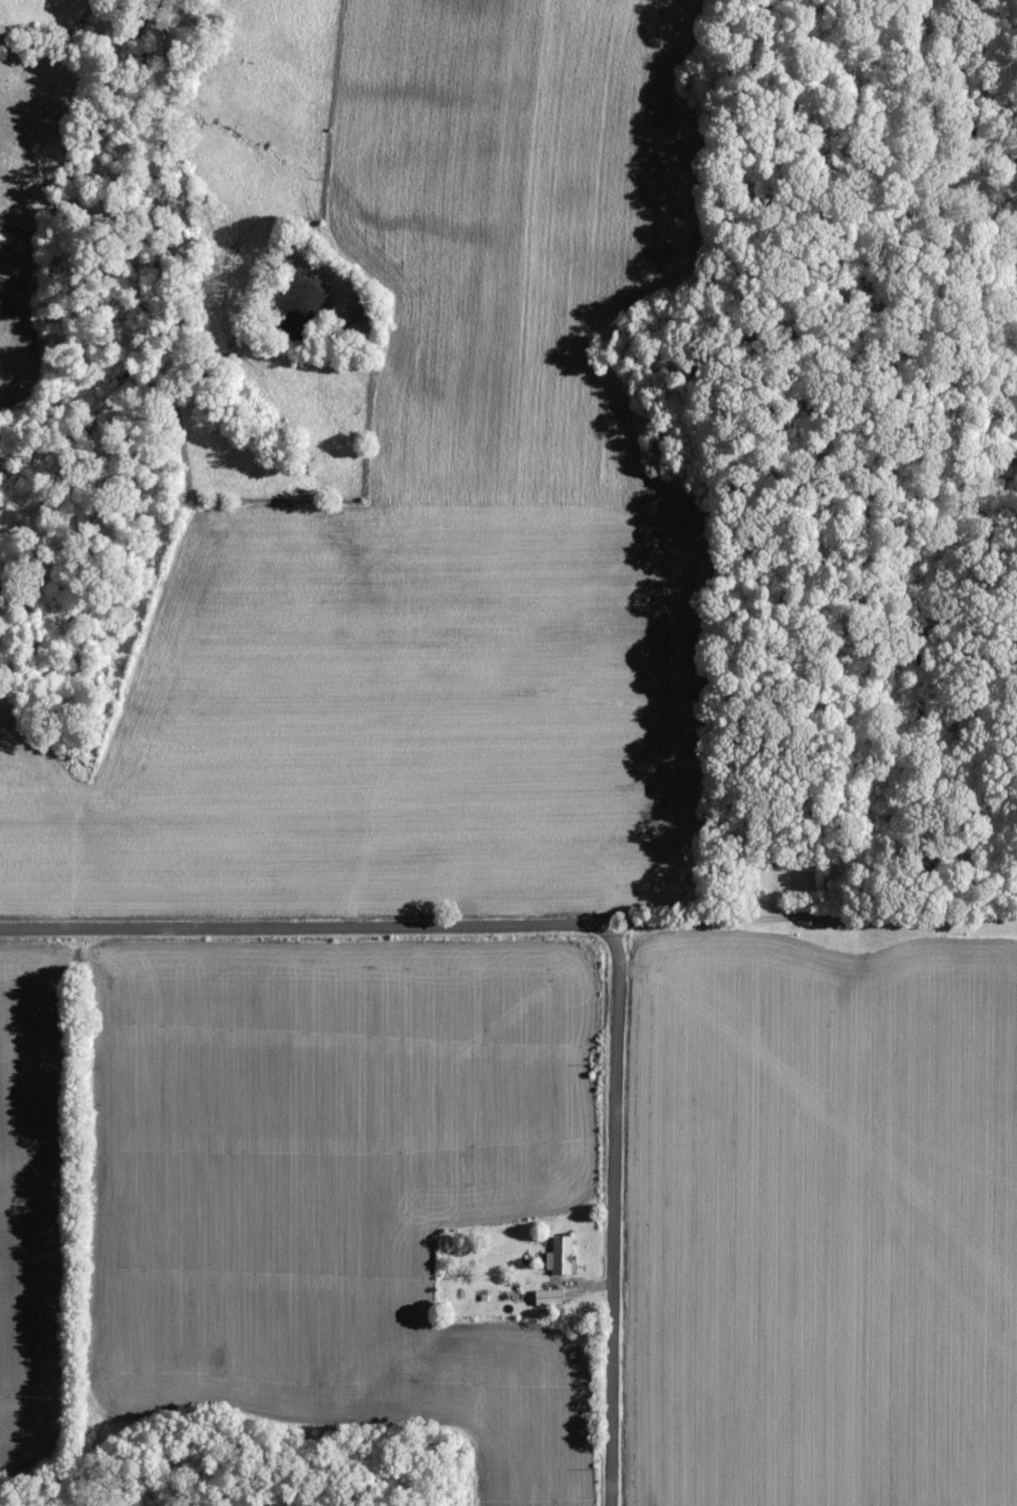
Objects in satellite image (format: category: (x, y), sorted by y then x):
road: (508, 927)
road: (615, 1215)
building: (562, 1257)
building: (552, 1298)

